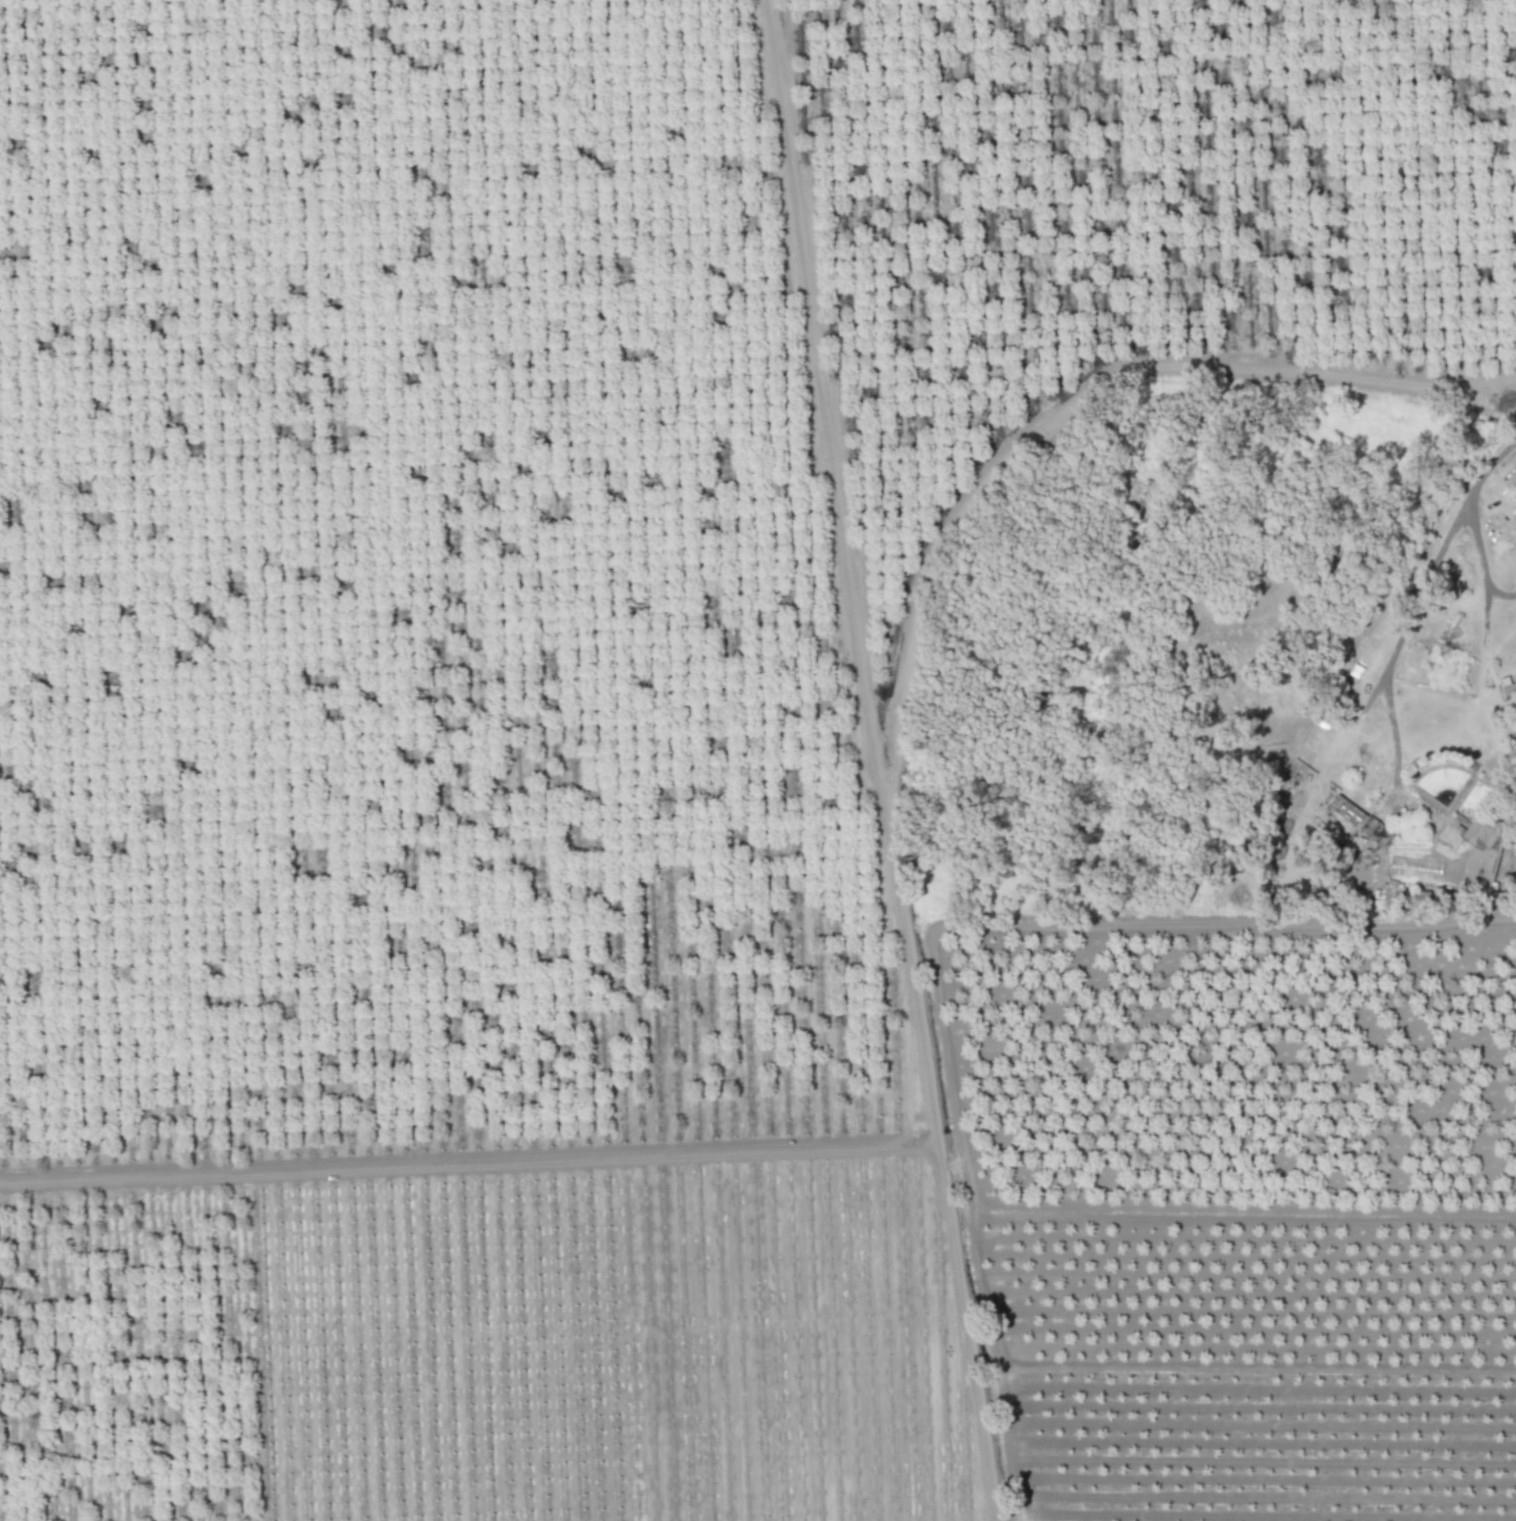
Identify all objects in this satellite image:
road: (1489, 465)
building: (1512, 479)
building: (1515, 494)
road: (1480, 569)
road: (1403, 639)
road: (1484, 643)
crop: (663, 746)
road: (870, 760)
crop: (1510, 768)
building: (1358, 819)
building: (1414, 867)
building: (1421, 898)
crop: (1139, 1519)

